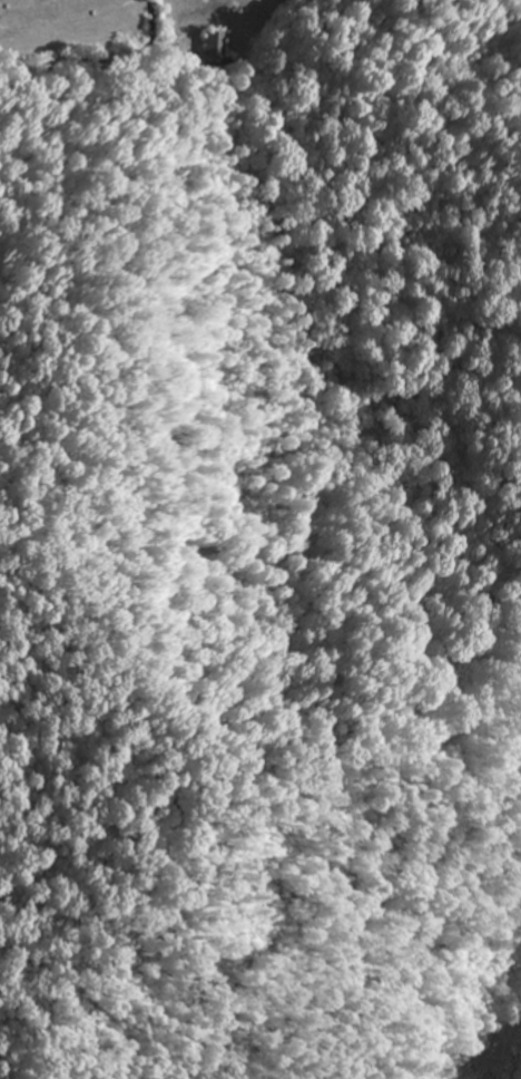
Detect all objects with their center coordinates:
building: (215, 45)

